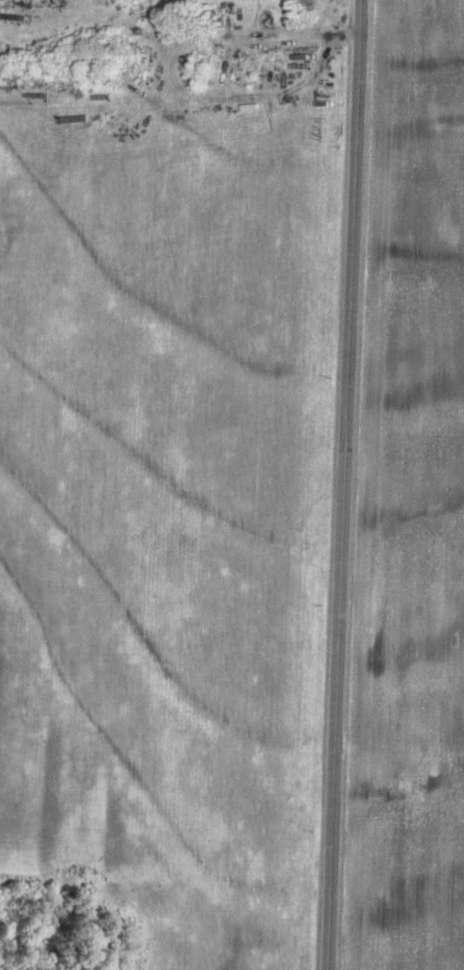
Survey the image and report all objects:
road: (342, 485)

